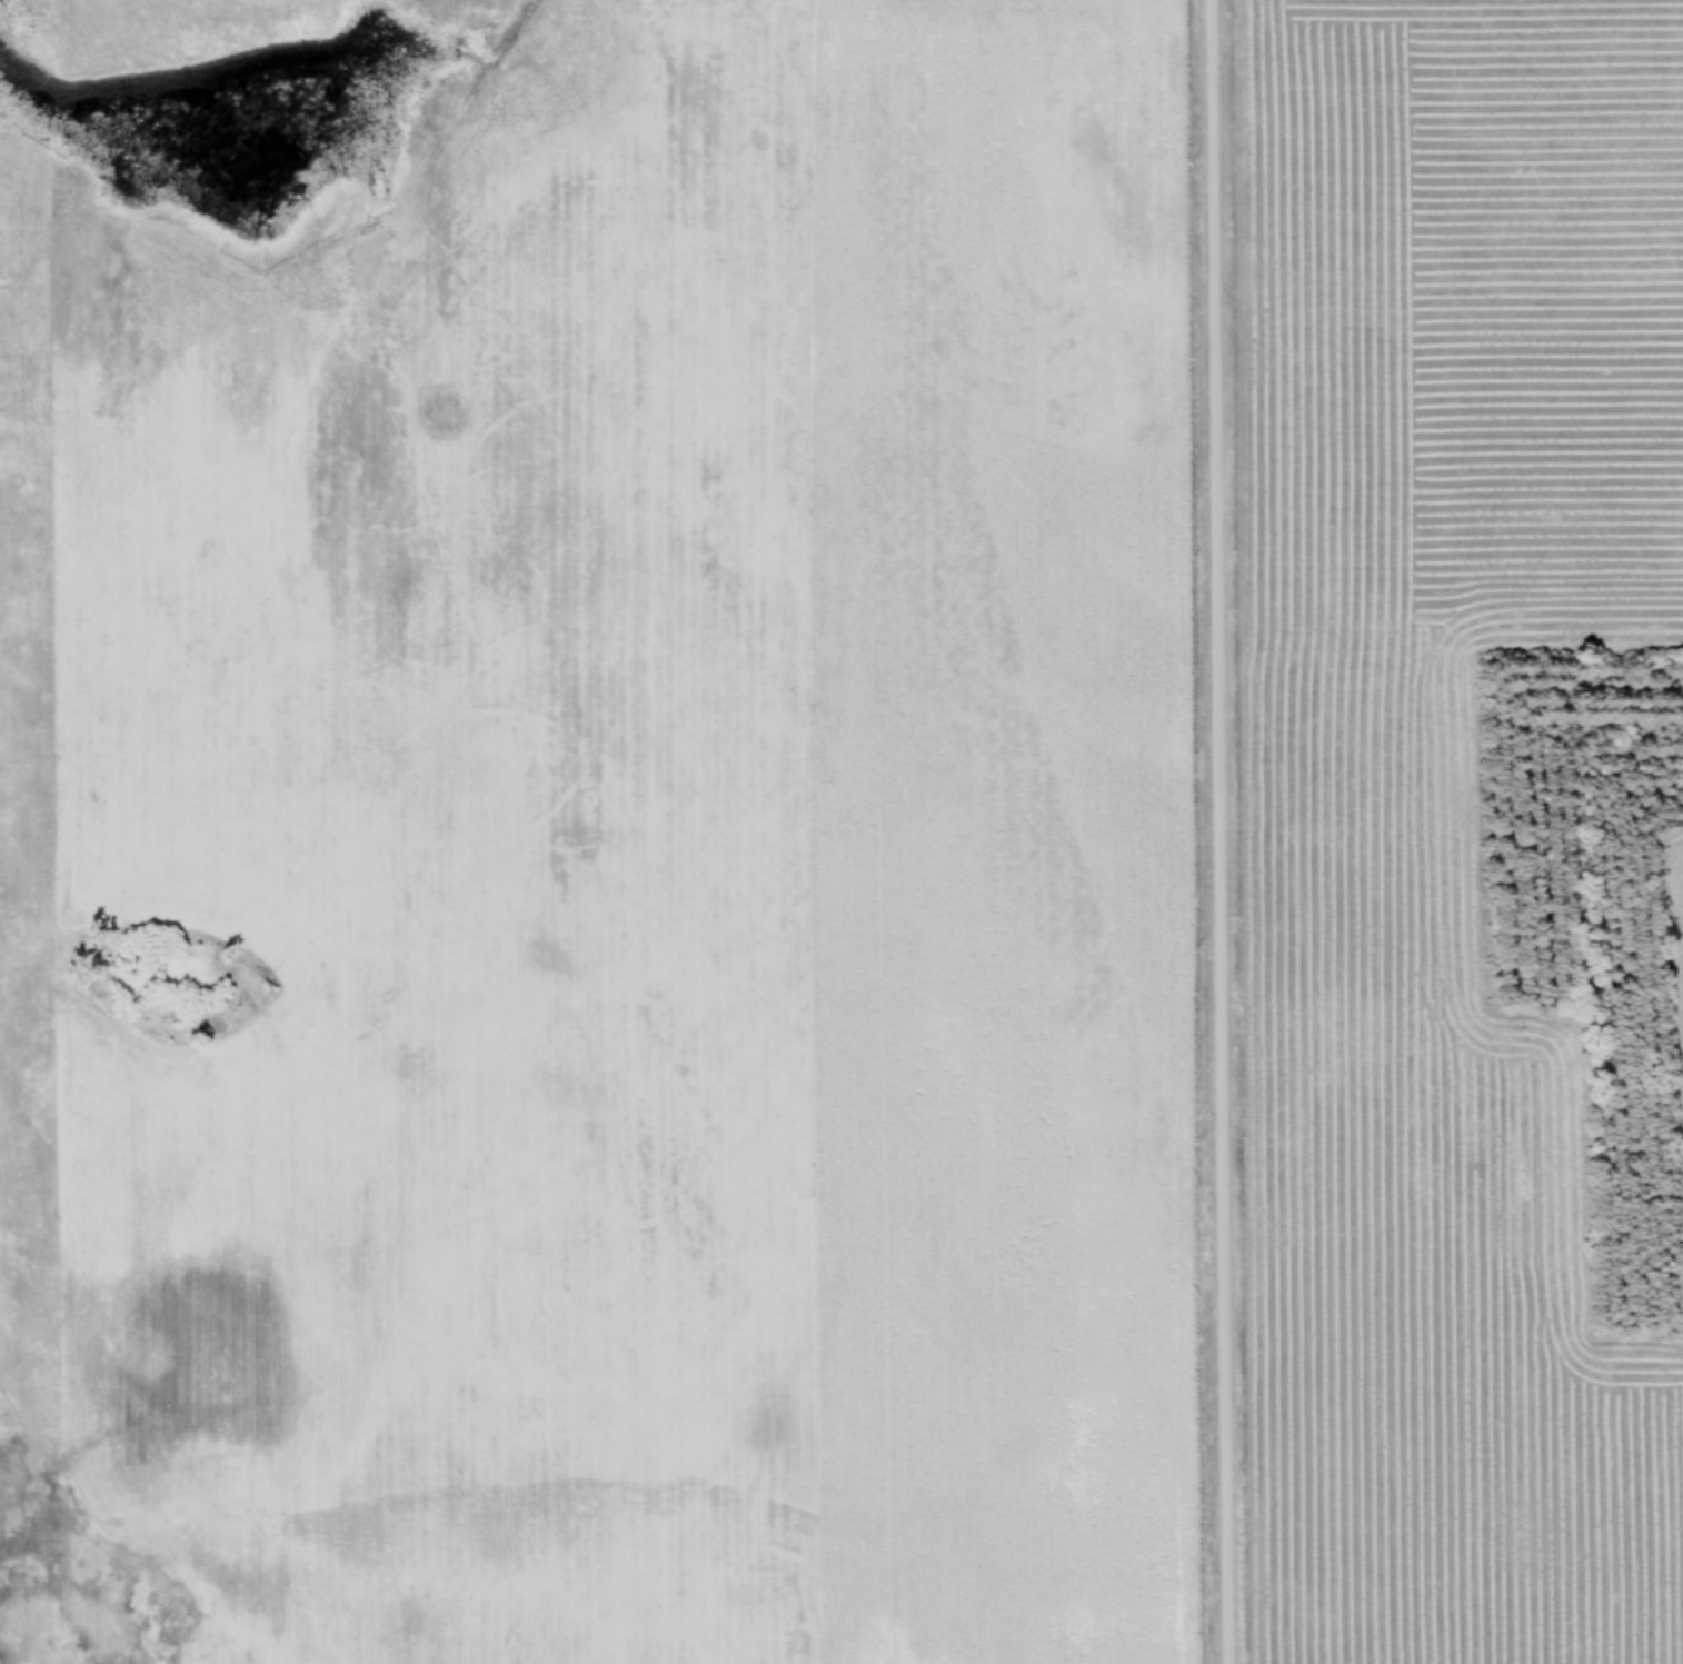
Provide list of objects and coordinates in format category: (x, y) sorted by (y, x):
road: (1219, 831)

